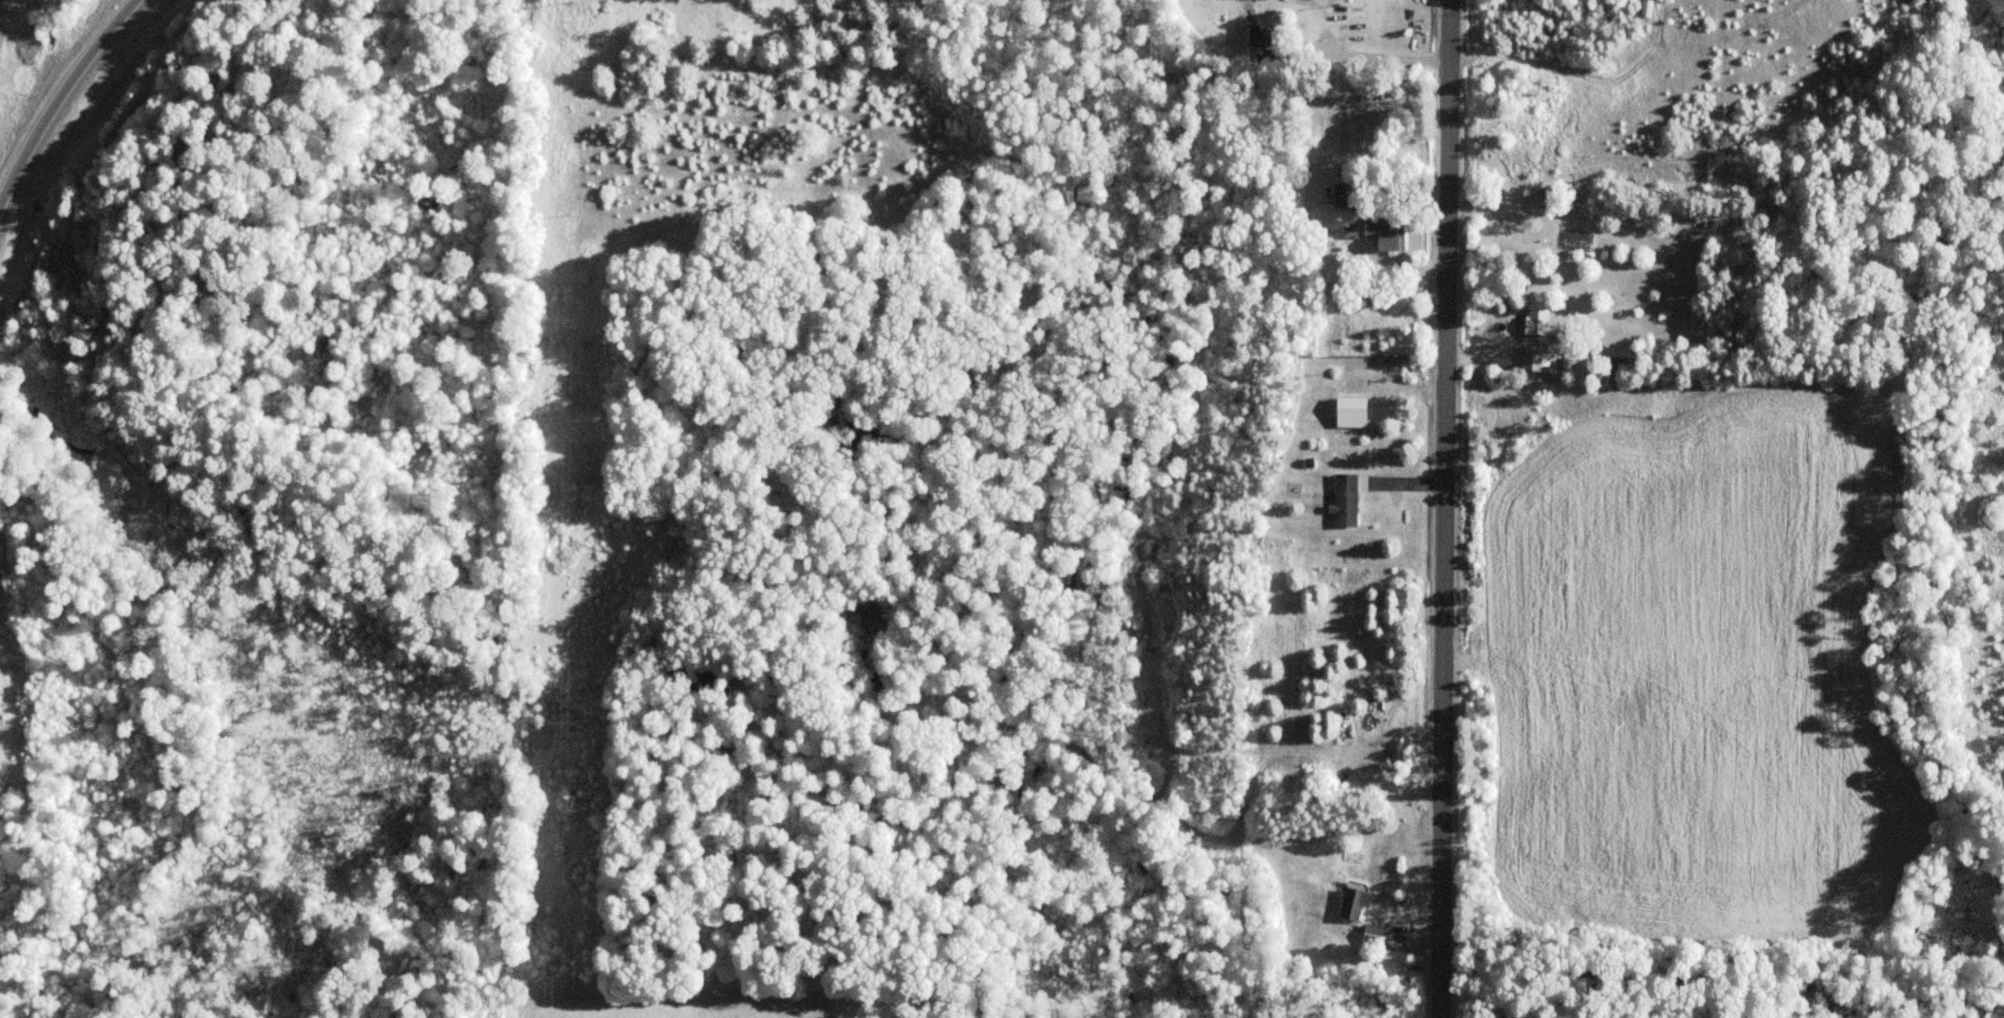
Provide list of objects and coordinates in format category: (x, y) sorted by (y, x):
building: (1259, 43)
road: (57, 93)
building: (1342, 196)
building: (1382, 236)
building: (1531, 324)
building: (1530, 358)
building: (1343, 501)
road: (1445, 509)
building: (1354, 910)
building: (1250, 916)

